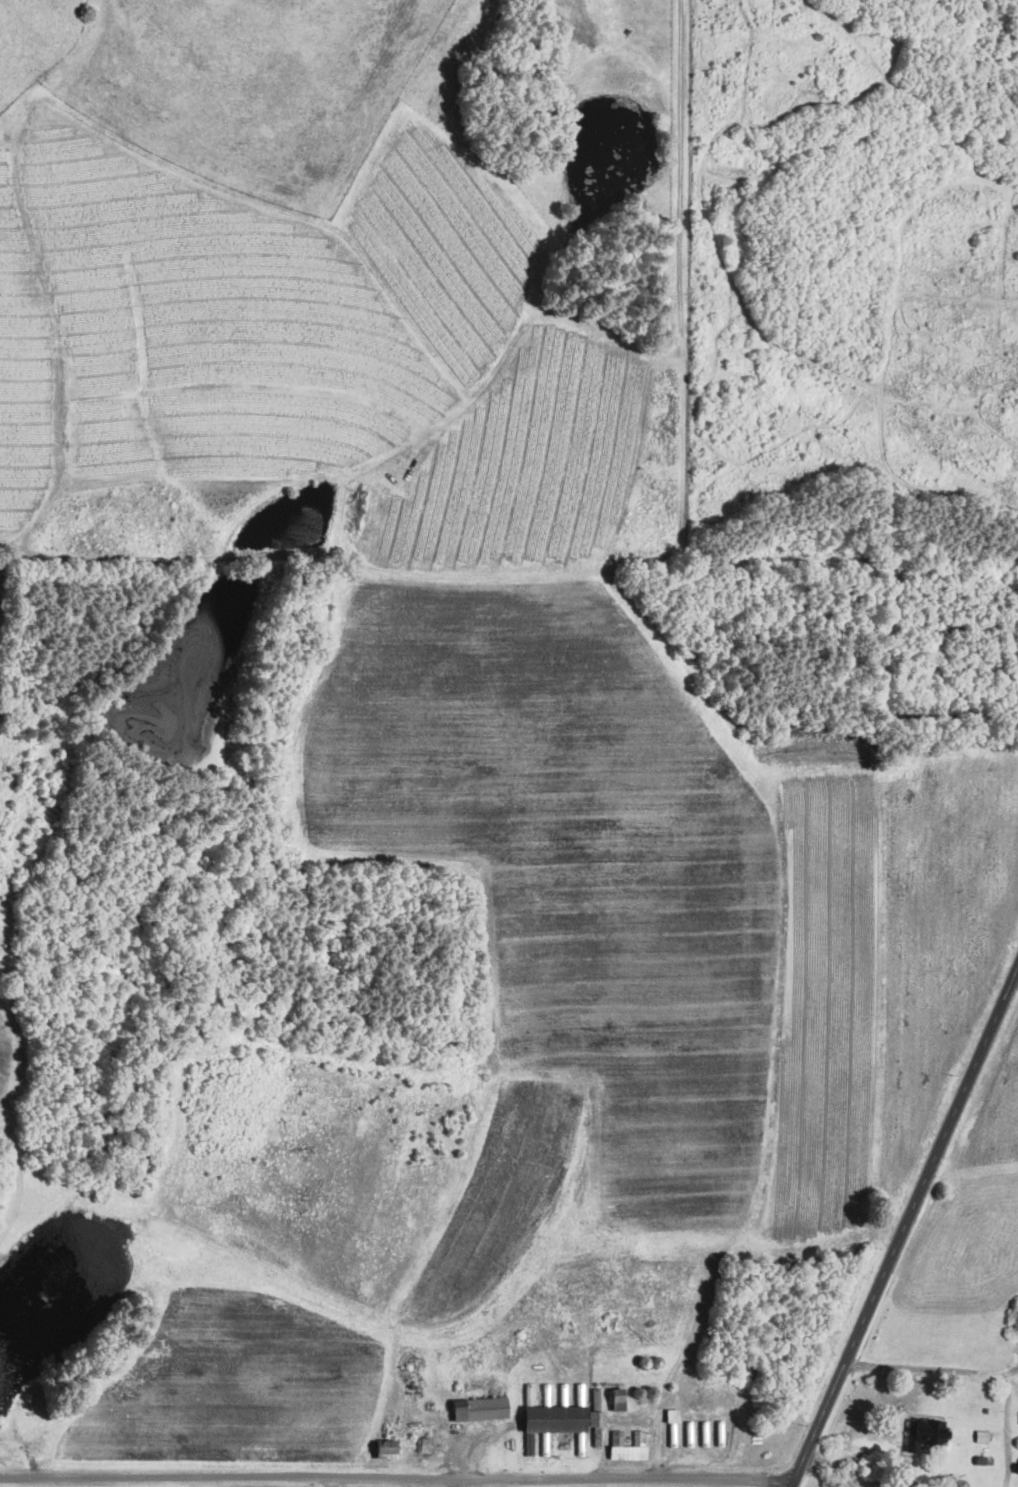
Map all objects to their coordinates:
road: (903, 1228)
building: (1015, 1313)
road: (980, 1370)
road: (1012, 1372)
building: (614, 1398)
building: (594, 1399)
building: (475, 1408)
building: (670, 1414)
building: (593, 1417)
building: (923, 1433)
building: (980, 1435)
building: (614, 1437)
road: (880, 1445)
building: (382, 1448)
building: (628, 1448)
road: (832, 1464)
road: (237, 1485)

